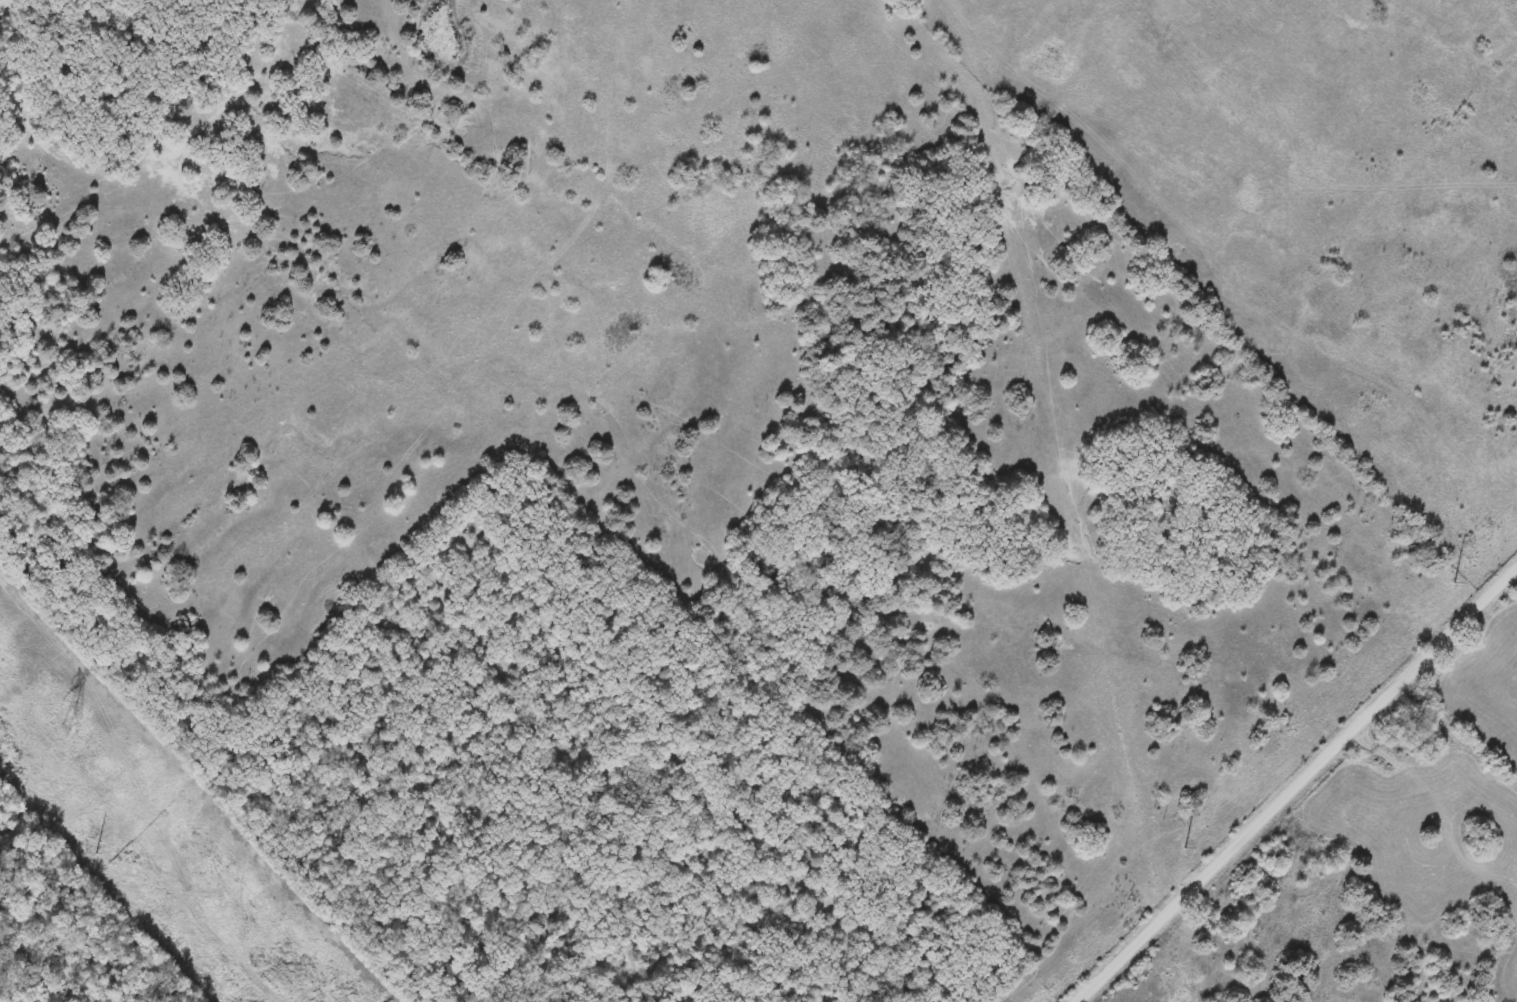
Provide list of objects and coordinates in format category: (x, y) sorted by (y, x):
power tower: (68, 722)
road: (1293, 782)
road: (1411, 831)

